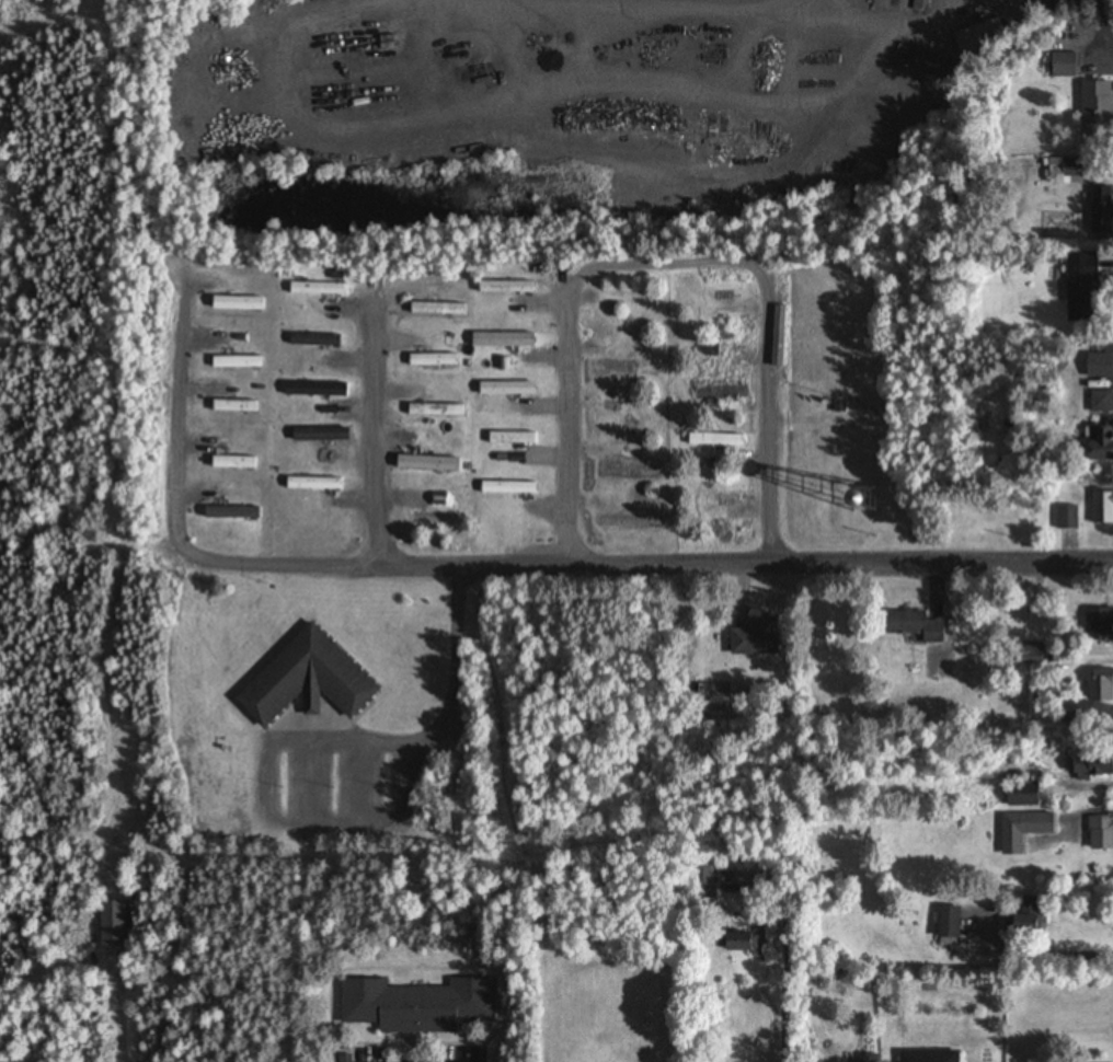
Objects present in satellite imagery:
building: (977, 34)
building: (1062, 66)
building: (1095, 103)
building: (1066, 170)
road: (669, 268)
building: (1080, 279)
building: (317, 288)
building: (506, 288)
building: (779, 295)
building: (239, 303)
building: (438, 310)
building: (312, 340)
building: (505, 340)
building: (432, 360)
building: (778, 360)
building: (236, 362)
building: (612, 367)
building: (312, 390)
building: (506, 390)
building: (721, 390)
building: (1101, 402)
building: (234, 407)
building: (435, 411)
road: (192, 413)
road: (377, 431)
building: (317, 435)
building: (510, 438)
building: (714, 440)
building: (1100, 446)
building: (232, 463)
building: (434, 465)
building: (313, 484)
building: (507, 487)
water tower: (861, 500)
building: (1104, 508)
building: (228, 513)
building: (432, 517)
building: (1066, 518)
road: (652, 564)
building: (903, 622)
building: (1098, 624)
building: (750, 639)
building: (1029, 654)
building: (305, 680)
building: (1099, 685)
building: (715, 693)
road: (443, 736)
building: (1088, 766)
parking lot: (344, 790)
road: (307, 792)
road: (365, 792)
building: (1017, 795)
building: (1022, 831)
building: (1100, 833)
road: (337, 836)
building: (702, 885)
building: (1019, 922)
building: (946, 923)
building: (113, 925)
building: (736, 943)
road: (777, 1003)
building: (415, 1006)
building: (926, 1057)
building: (867, 1059)

